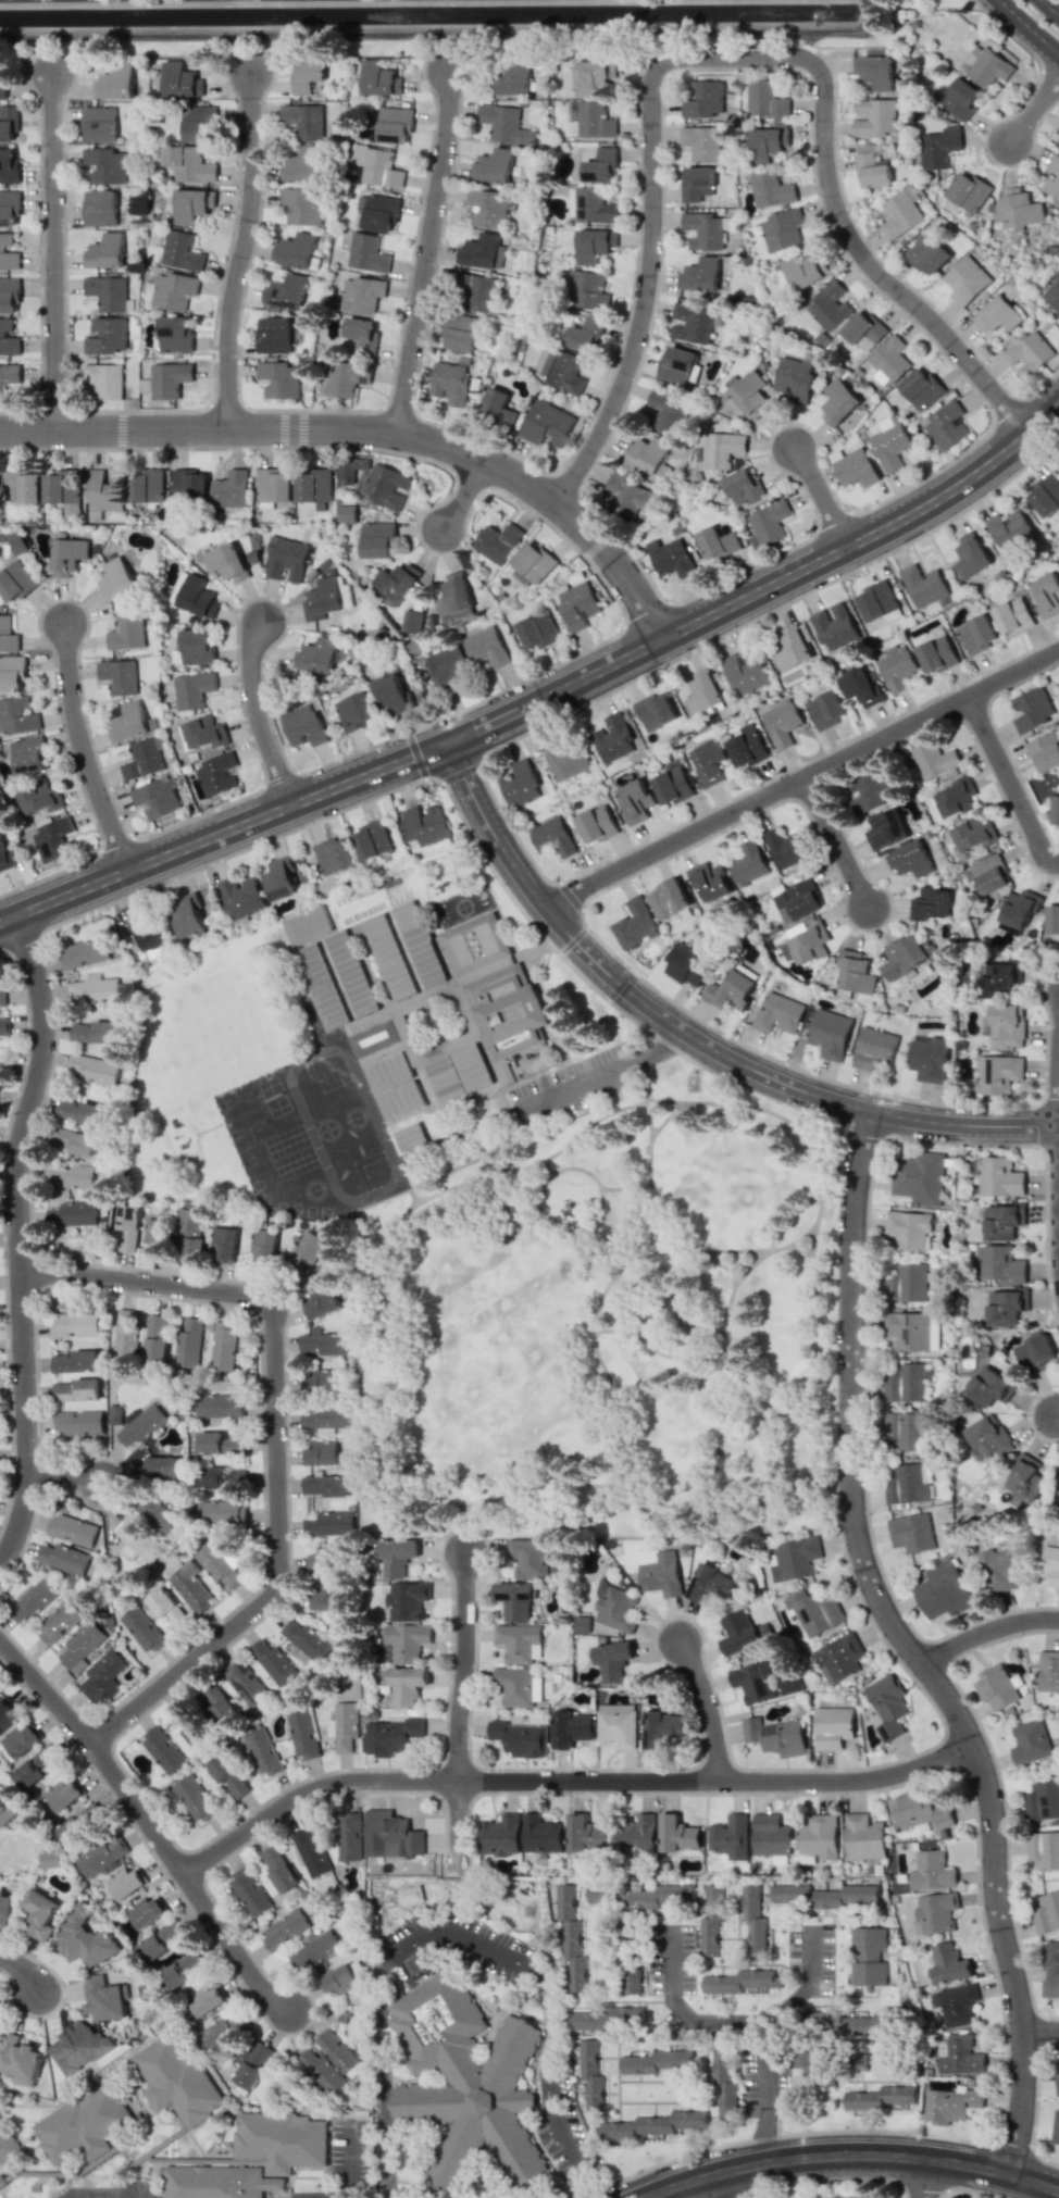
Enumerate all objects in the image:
road: (1049, 7)
road: (1025, 29)
road: (449, 34)
road: (805, 46)
road: (734, 60)
building: (985, 65)
building: (874, 72)
building: (308, 75)
building: (594, 76)
building: (183, 79)
building: (379, 79)
building: (513, 79)
building: (117, 83)
building: (2, 88)
building: (961, 98)
building: (703, 99)
road: (1036, 108)
building: (874, 117)
building: (304, 120)
building: (595, 120)
building: (8, 123)
building: (178, 123)
building: (99, 124)
building: (198, 124)
building: (395, 124)
building: (504, 124)
building: (1058, 129)
building: (701, 142)
building: (768, 142)
building: (938, 147)
building: (189, 164)
building: (303, 164)
building: (8, 165)
building: (105, 165)
building: (495, 165)
building: (600, 165)
building: (378, 166)
building: (871, 167)
building: (1051, 177)
building: (697, 184)
building: (770, 189)
building: (968, 191)
building: (191, 204)
building: (302, 205)
building: (589, 205)
building: (9, 208)
building: (487, 208)
building: (1022, 209)
building: (101, 210)
building: (378, 212)
building: (999, 212)
building: (900, 214)
building: (782, 229)
building: (702, 230)
building: (593, 245)
building: (297, 250)
building: (105, 251)
building: (180, 251)
building: (484, 251)
building: (8, 252)
road: (57, 252)
road: (245, 253)
building: (366, 253)
building: (926, 253)
road: (431, 254)
building: (803, 270)
building: (702, 274)
building: (965, 280)
building: (173, 290)
building: (587, 290)
building: (287, 291)
building: (475, 291)
building: (107, 292)
building: (9, 295)
building: (361, 295)
building: (1052, 295)
building: (997, 314)
building: (693, 322)
building: (863, 330)
building: (461, 333)
building: (174, 334)
building: (362, 334)
building: (274, 335)
building: (585, 335)
building: (105, 336)
building: (8, 338)
building: (1029, 352)
building: (888, 360)
building: (676, 365)
building: (562, 370)
building: (8, 376)
building: (346, 378)
building: (795, 378)
building: (104, 379)
building: (169, 379)
building: (278, 379)
building: (450, 383)
building: (921, 388)
building: (750, 395)
building: (838, 401)
building: (498, 408)
building: (668, 411)
building: (546, 424)
building: (946, 425)
road: (374, 433)
building: (889, 442)
building: (722, 449)
building: (649, 455)
building: (854, 467)
building: (350, 469)
building: (274, 485)
building: (313, 485)
building: (147, 486)
building: (189, 486)
building: (385, 487)
building: (744, 487)
building: (23, 488)
building: (231, 489)
building: (62, 490)
building: (104, 491)
building: (1046, 495)
building: (628, 496)
road: (468, 498)
road: (824, 499)
building: (347, 514)
building: (768, 524)
building: (1010, 530)
building: (16, 542)
building: (497, 542)
building: (718, 544)
building: (971, 554)
building: (68, 555)
building: (670, 558)
building: (286, 559)
building: (227, 562)
building: (531, 564)
building: (116, 579)
building: (15, 582)
building: (395, 583)
building: (923, 585)
building: (453, 594)
building: (1047, 594)
building: (198, 596)
building: (327, 598)
building: (877, 600)
building: (577, 605)
building: (1012, 615)
building: (412, 621)
building: (834, 627)
building: (537, 630)
building: (126, 632)
building: (976, 634)
building: (8, 635)
building: (197, 647)
building: (486, 647)
building: (792, 647)
building: (320, 654)
building: (448, 665)
building: (897, 666)
building: (745, 672)
building: (12, 673)
building: (119, 676)
building: (860, 687)
building: (192, 690)
building: (397, 691)
building: (703, 692)
road: (545, 699)
building: (826, 709)
building: (1031, 709)
building: (354, 711)
building: (655, 711)
road: (259, 715)
building: (17, 716)
building: (130, 721)
building: (782, 723)
building: (303, 725)
building: (202, 733)
building: (612, 738)
building: (746, 747)
road: (84, 750)
building: (1045, 751)
building: (29, 754)
building: (144, 759)
building: (568, 760)
building: (933, 760)
building: (708, 762)
building: (217, 774)
road: (803, 779)
building: (673, 783)
building: (520, 784)
road: (1008, 785)
building: (870, 791)
building: (40, 797)
building: (955, 798)
building: (155, 799)
building: (635, 800)
building: (1055, 811)
building: (423, 824)
building: (596, 824)
building: (886, 831)
building: (973, 834)
building: (552, 836)
building: (53, 838)
building: (371, 840)
road: (834, 841)
building: (784, 848)
building: (334, 856)
building: (4, 857)
building: (910, 859)
building: (747, 862)
building: (989, 874)
building: (279, 878)
building: (710, 881)
building: (241, 897)
building: (668, 898)
building: (797, 901)
building: (930, 903)
building: (1020, 908)
building: (187, 915)
building: (1052, 917)
building: (634, 924)
building: (308, 925)
building: (151, 935)
building: (476, 941)
building: (805, 941)
building: (404, 950)
building: (84, 952)
building: (904, 957)
building: (686, 964)
building: (855, 972)
building: (997, 978)
building: (337, 979)
building: (94, 988)
building: (732, 989)
building: (2, 995)
building: (509, 1009)
building: (778, 1014)
building: (1007, 1025)
building: (3, 1026)
building: (95, 1032)
road: (690, 1034)
building: (830, 1034)
building: (375, 1036)
building: (873, 1048)
building: (929, 1059)
building: (0, 1065)
building: (94, 1067)
building: (458, 1073)
road: (597, 1073)
building: (997, 1073)
building: (394, 1086)
park: (236, 1098)
building: (79, 1111)
road: (661, 1122)
park: (248, 1127)
building: (410, 1136)
building: (74, 1141)
park: (253, 1159)
road: (586, 1173)
building: (70, 1176)
building: (919, 1177)
building: (999, 1177)
building: (72, 1214)
building: (1001, 1221)
building: (128, 1226)
road: (608, 1229)
building: (907, 1229)
building: (190, 1232)
building: (154, 1235)
road: (18, 1239)
building: (224, 1242)
building: (263, 1245)
building: (306, 1251)
building: (1000, 1264)
building: (906, 1283)
building: (323, 1301)
building: (1006, 1306)
park: (606, 1324)
building: (73, 1325)
road: (657, 1325)
road: (814, 1327)
building: (907, 1331)
building: (125, 1336)
building: (155, 1337)
building: (188, 1342)
building: (325, 1342)
building: (223, 1346)
building: (1036, 1353)
building: (74, 1361)
building: (321, 1382)
building: (905, 1383)
building: (991, 1386)
building: (76, 1389)
building: (215, 1406)
building: (113, 1414)
road: (1058, 1415)
building: (325, 1420)
building: (77, 1422)
building: (141, 1425)
building: (904, 1429)
road: (277, 1437)
building: (989, 1437)
building: (220, 1443)
building: (323, 1453)
building: (1058, 1464)
building: (160, 1465)
road: (65, 1476)
building: (223, 1478)
road: (793, 1478)
building: (1026, 1478)
building: (906, 1484)
building: (325, 1486)
building: (222, 1512)
building: (158, 1513)
building: (329, 1524)
building: (71, 1529)
building: (911, 1533)
building: (135, 1541)
building: (397, 1556)
building: (531, 1558)
building: (794, 1559)
building: (65, 1560)
building: (322, 1563)
building: (219, 1564)
building: (1051, 1564)
building: (999, 1570)
building: (660, 1571)
building: (712, 1585)
building: (190, 1587)
building: (944, 1589)
building: (328, 1598)
building: (515, 1599)
building: (407, 1600)
building: (32, 1601)
building: (614, 1608)
building: (167, 1609)
building: (813, 1612)
building: (58, 1622)
building: (142, 1628)
road: (987, 1629)
building: (744, 1633)
building: (306, 1639)
building: (406, 1643)
building: (520, 1643)
building: (80, 1646)
road: (911, 1647)
building: (839, 1658)
building: (613, 1661)
building: (272, 1662)
road: (465, 1665)
building: (1049, 1671)
building: (102, 1676)
building: (752, 1683)
building: (246, 1684)
building: (408, 1685)
building: (790, 1686)
building: (996, 1687)
building: (217, 1702)
building: (887, 1706)
road: (710, 1707)
building: (7, 1712)
building: (618, 1724)
building: (345, 1725)
building: (833, 1726)
building: (571, 1728)
building: (196, 1731)
building: (303, 1734)
building: (390, 1736)
building: (776, 1736)
building: (520, 1738)
building: (1030, 1741)
building: (163, 1750)
building: (262, 1751)
building: (35, 1768)
building: (228, 1774)
road: (569, 1781)
building: (63, 1795)
building: (195, 1798)
building: (1042, 1801)
building: (2, 1804)
building: (919, 1811)
road: (148, 1819)
building: (80, 1824)
road: (460, 1827)
building: (540, 1834)
building: (636, 1834)
building: (677, 1834)
building: (390, 1835)
building: (500, 1835)
building: (585, 1835)
building: (770, 1835)
building: (349, 1836)
building: (819, 1836)
building: (863, 1836)
building: (730, 1837)
building: (1044, 1849)
building: (310, 1851)
building: (101, 1854)
building: (51, 1859)
building: (278, 1869)
building: (932, 1871)
building: (126, 1882)
building: (249, 1890)
building: (411, 1895)
building: (640, 1895)
building: (824, 1896)
building: (5, 1909)
building: (147, 1911)
building: (935, 1912)
building: (1046, 1913)
building: (40, 1914)
building: (712, 1920)
building: (753, 1920)
building: (284, 1928)
road: (461, 1936)
building: (85, 1939)
building: (571, 1939)
building: (153, 1947)
building: (315, 1949)
building: (869, 1956)
building: (948, 1963)
building: (182, 1970)
building: (1050, 1970)
road: (24, 1972)
building: (344, 1977)
building: (742, 1981)
building: (633, 1982)
road: (811, 1991)
building: (104, 1998)
building: (207, 1999)
building: (956, 2003)
building: (625, 2013)
building: (588, 2021)
building: (851, 2021)
road: (745, 2023)
road: (1042, 2031)
building: (220, 2033)
building: (340, 2052)
building: (960, 2055)
building: (20, 2060)
building: (656, 2061)
building: (813, 2063)
building: (252, 2064)
building: (321, 2070)
building: (591, 2074)
building: (1057, 2080)
building: (465, 2081)
building: (178, 2083)
building: (725, 2086)
building: (883, 2097)
building: (949, 2105)
building: (82, 2125)
building: (652, 2125)
building: (1055, 2128)
building: (7, 2145)
road: (852, 2156)
building: (256, 2158)
road: (926, 2178)
building: (1, 2183)
road: (710, 2187)
road: (107, 2195)
building: (847, 2197)

